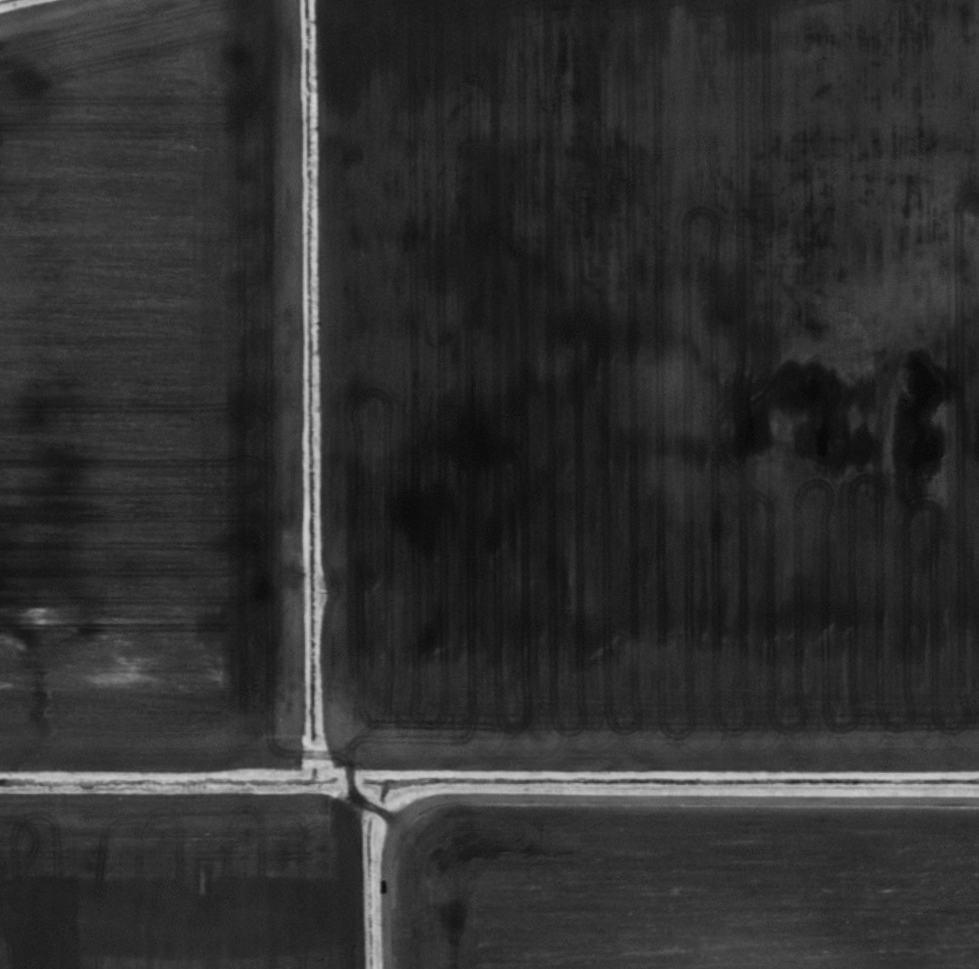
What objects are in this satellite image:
road: (612, 801)

